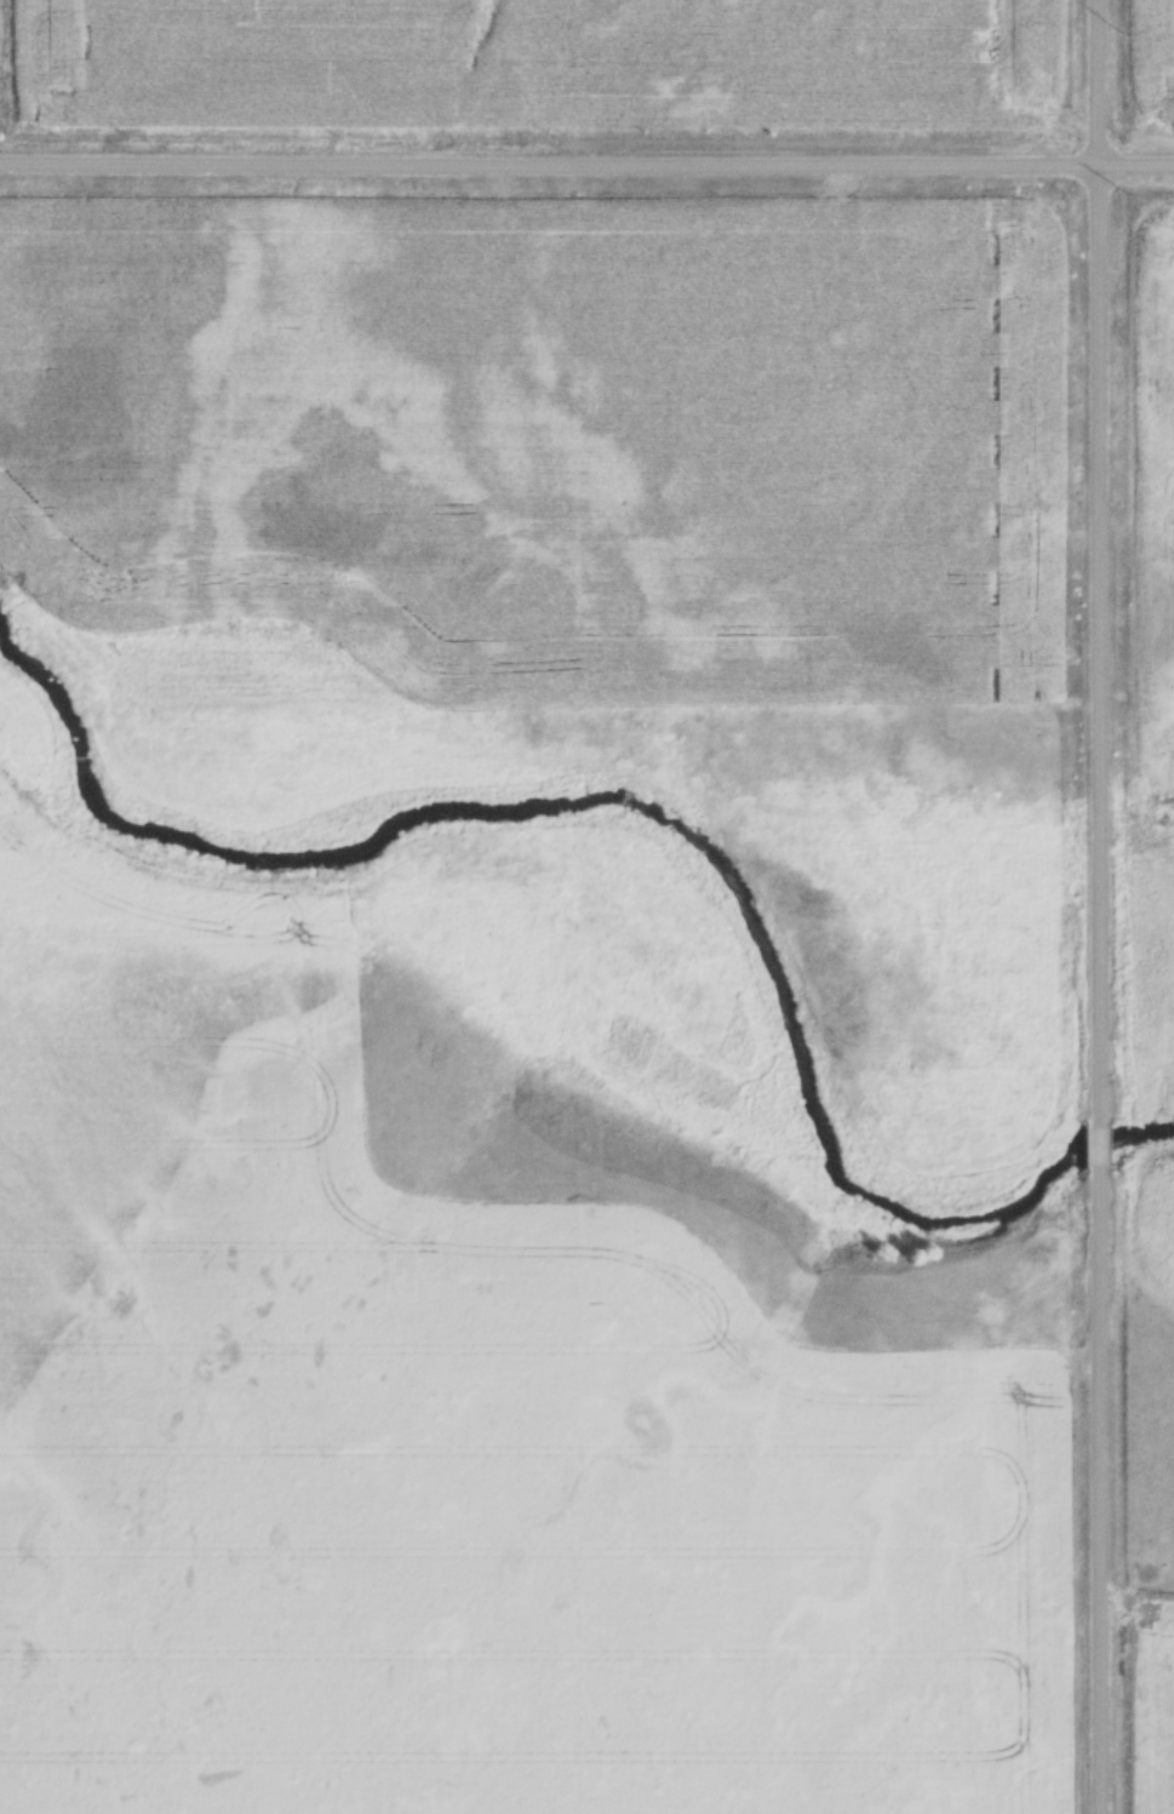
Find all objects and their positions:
road: (586, 166)
power tower: (1124, 194)
road: (1101, 906)

